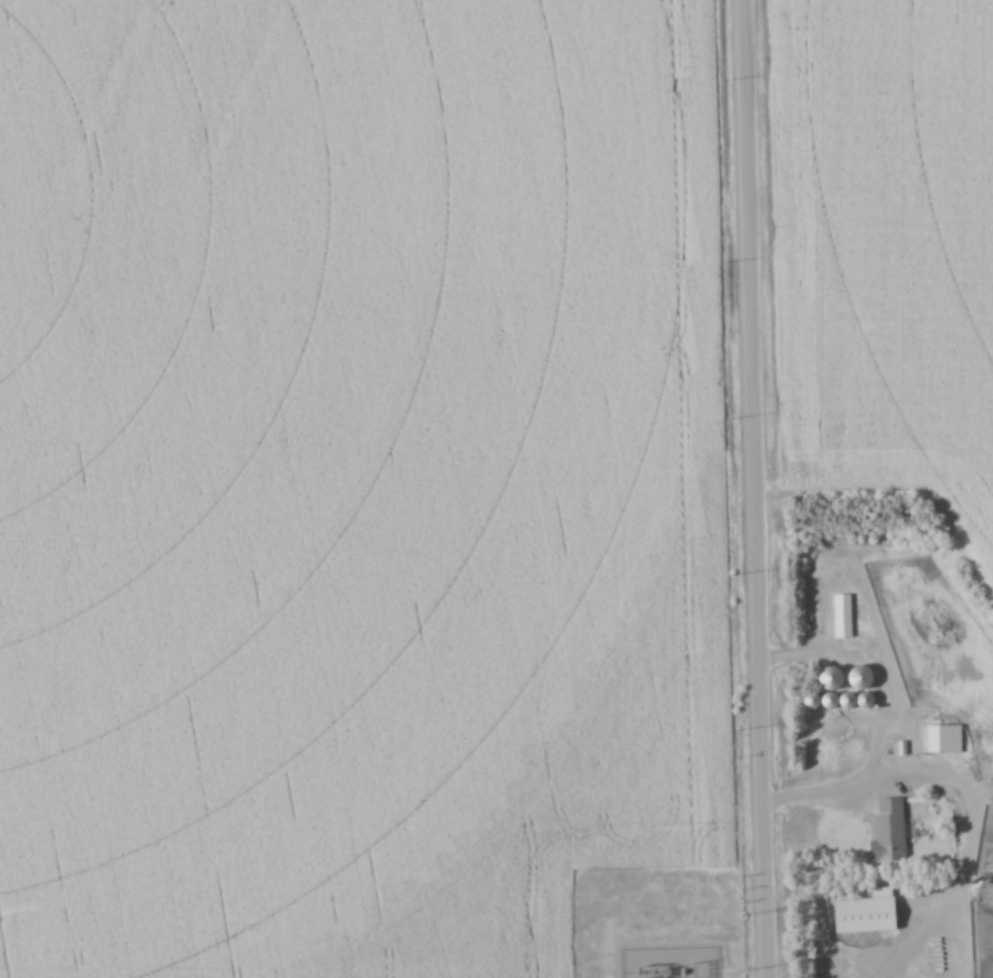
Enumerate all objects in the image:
road: (755, 489)
building: (840, 617)
building: (818, 671)
silo: (818, 671)
building: (848, 672)
silo: (848, 672)
building: (856, 679)
building: (799, 692)
silo: (799, 692)
building: (816, 692)
building: (820, 692)
building: (836, 693)
silo: (836, 693)
building: (852, 693)
silo: (852, 693)
building: (940, 739)
road: (975, 802)
building: (885, 833)
building: (860, 916)

